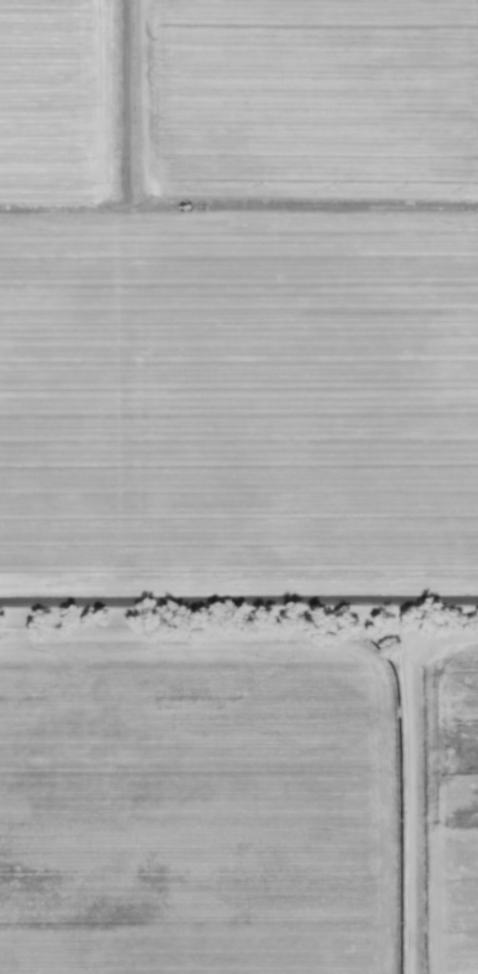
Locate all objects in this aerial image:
road: (127, 104)
road: (238, 205)
road: (239, 601)

